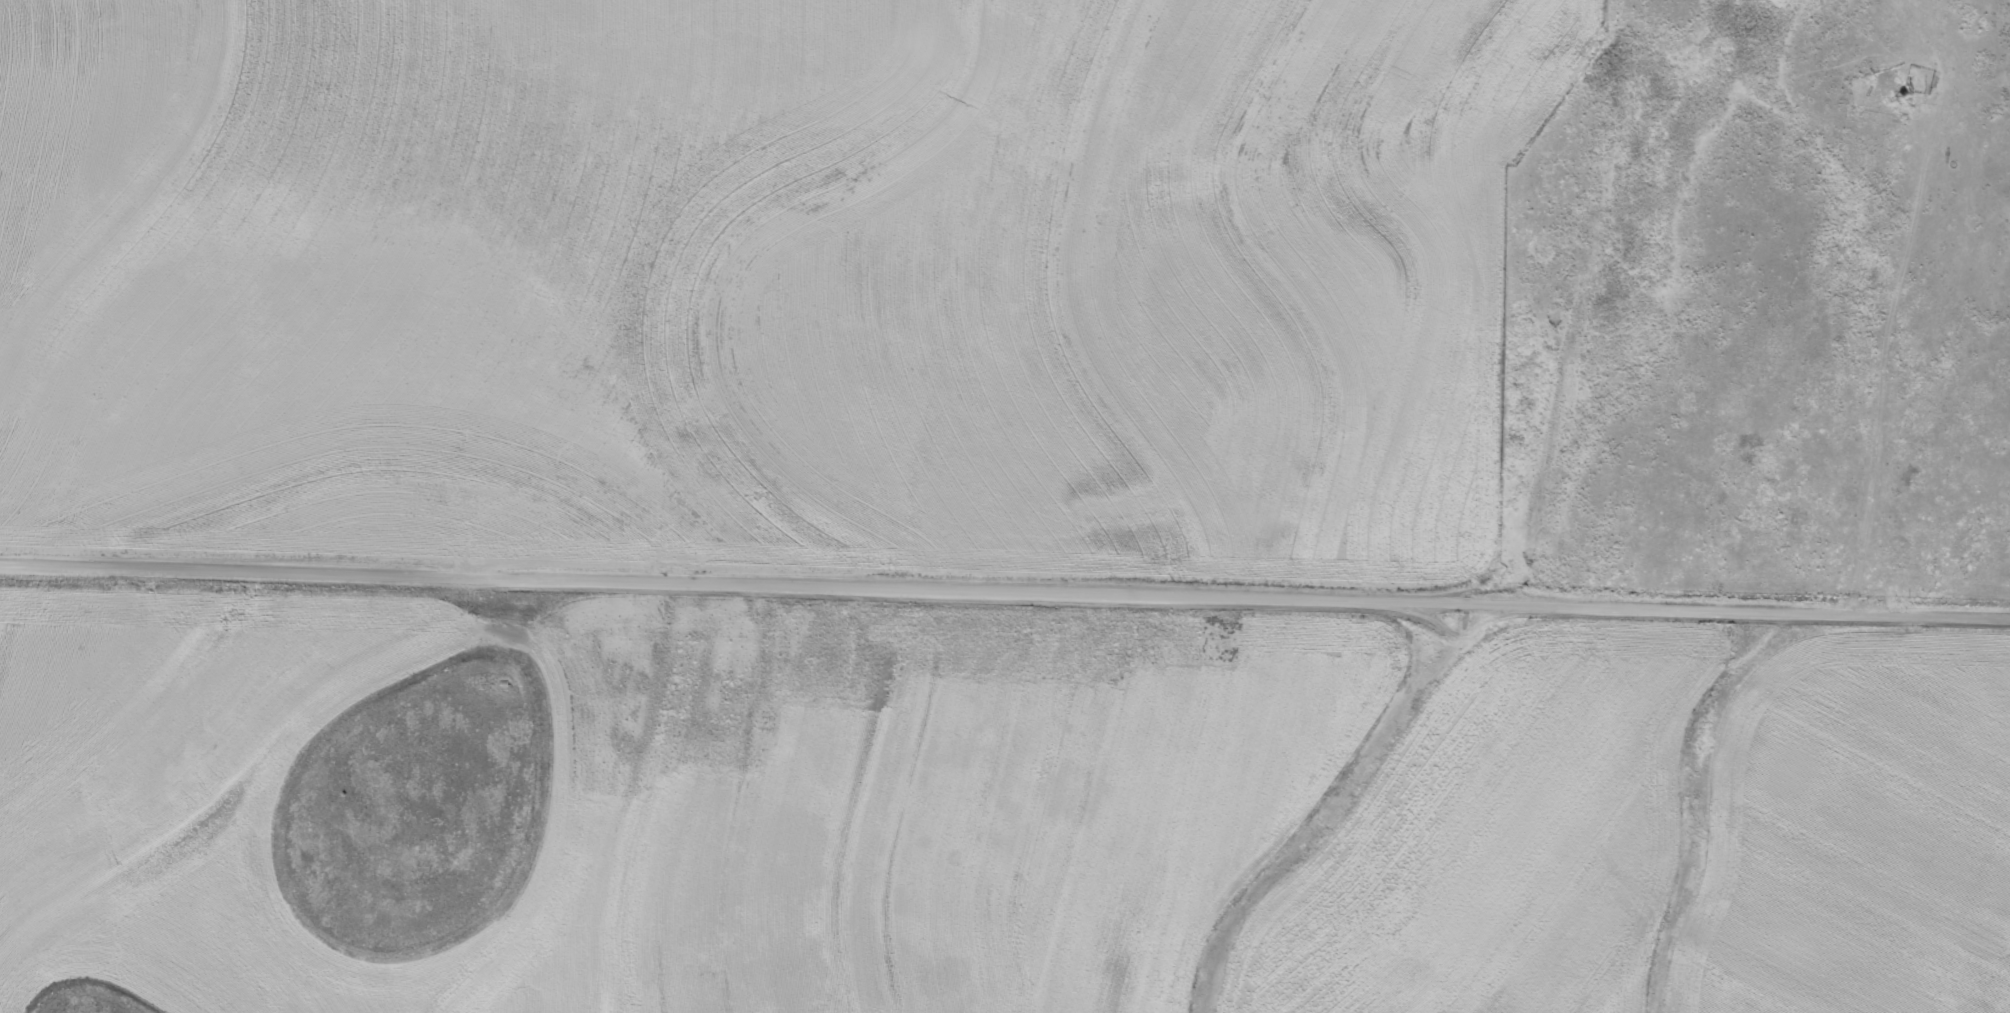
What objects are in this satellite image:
road: (1004, 592)

